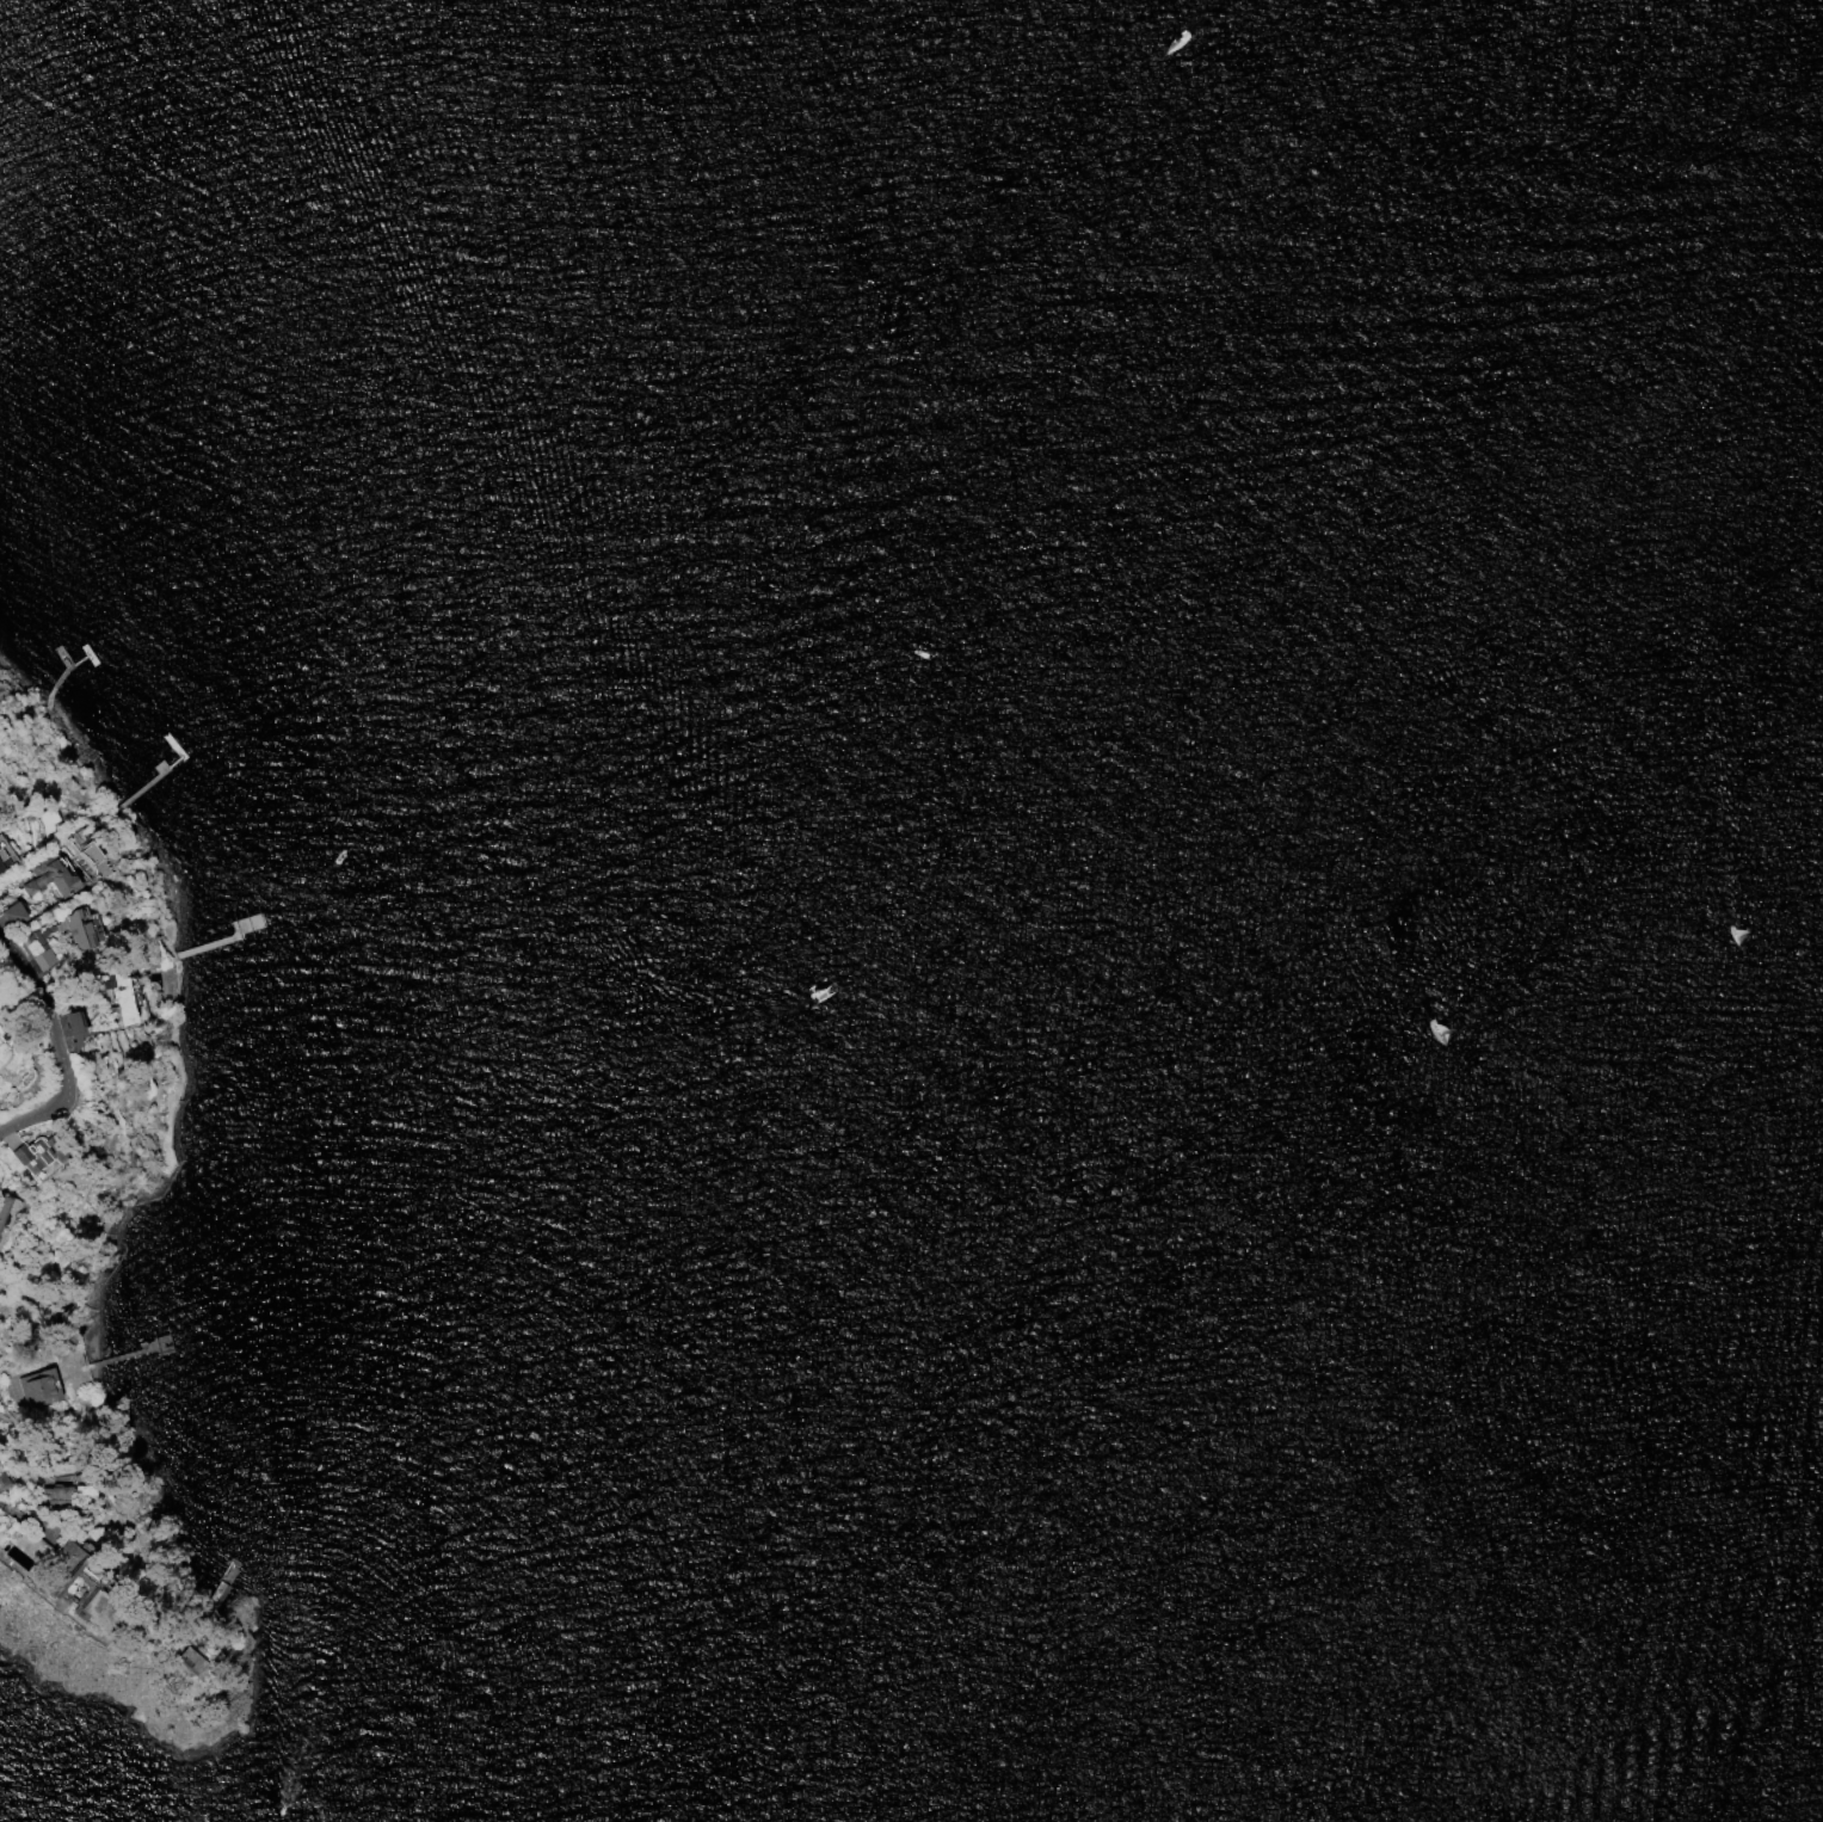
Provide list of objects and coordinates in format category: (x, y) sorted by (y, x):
building: (88, 855)
building: (2, 864)
building: (48, 876)
building: (11, 916)
building: (82, 943)
road: (1, 949)
road: (7, 956)
building: (116, 995)
road: (31, 999)
building: (69, 1029)
road: (54, 1095)
building: (38, 1153)
building: (2, 1209)
building: (38, 1387)
building: (1, 1482)
building: (54, 1497)
road: (32, 1543)
building: (60, 1561)
building: (185, 1662)

